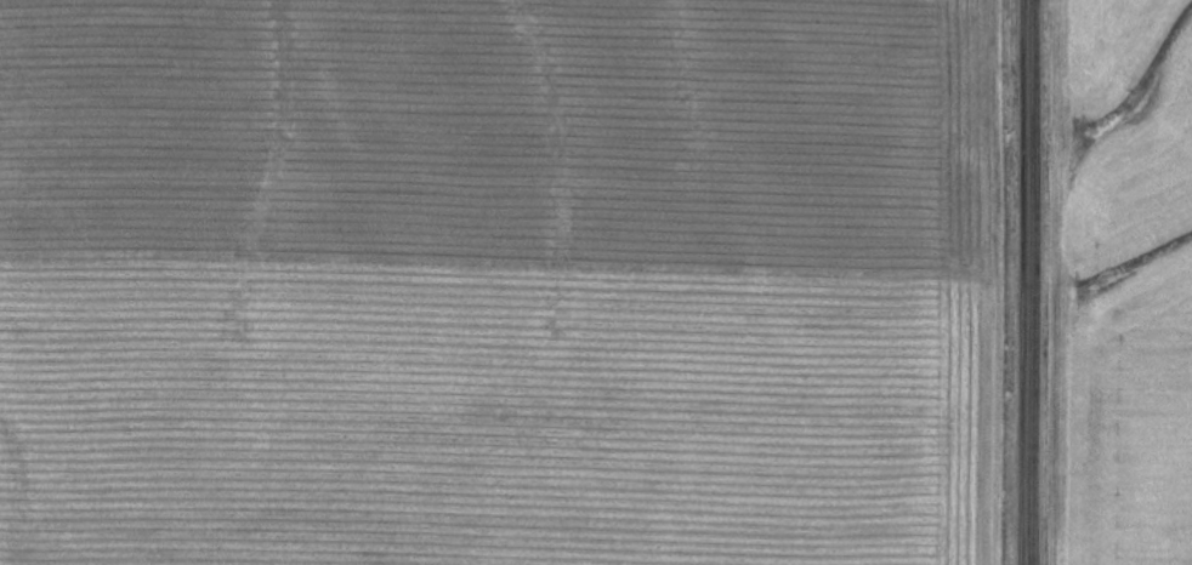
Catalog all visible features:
road: (1026, 282)

